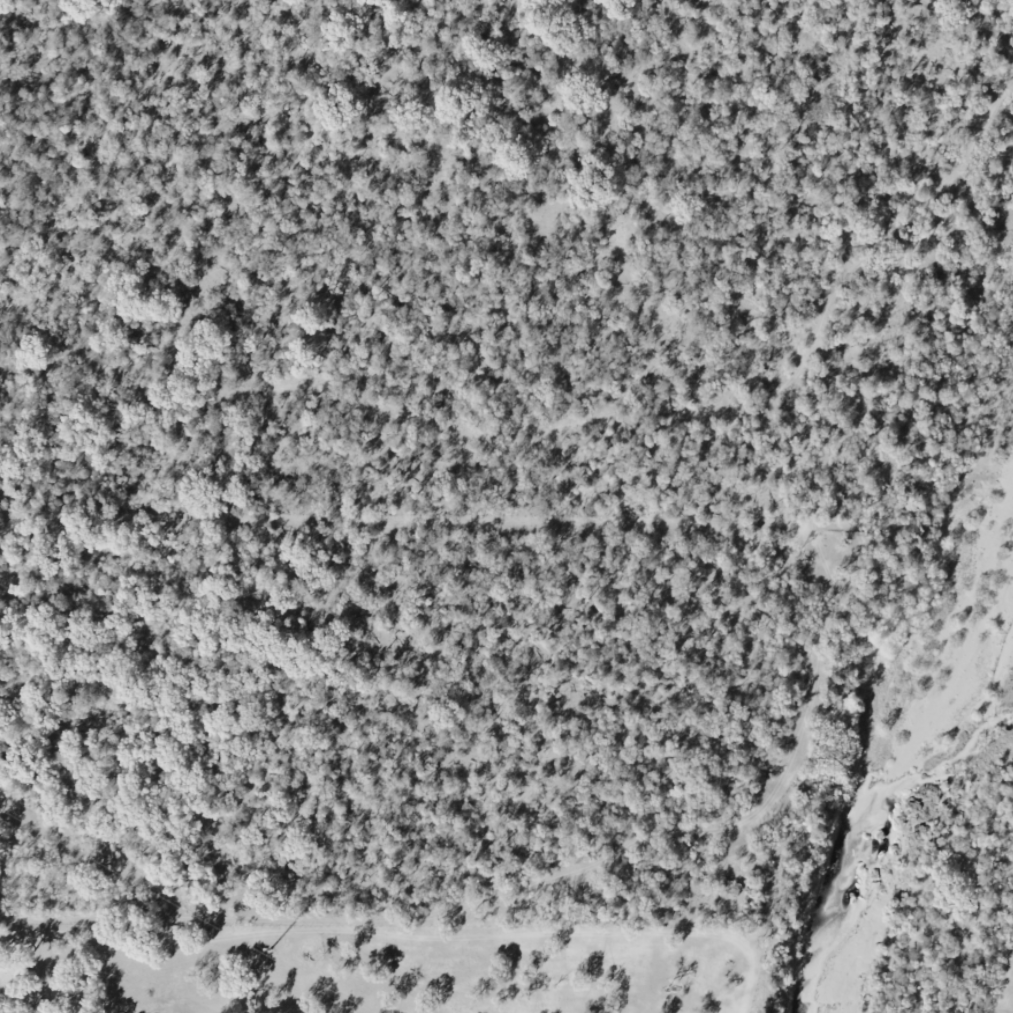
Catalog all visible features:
building: (734, 890)
power tower: (270, 949)

